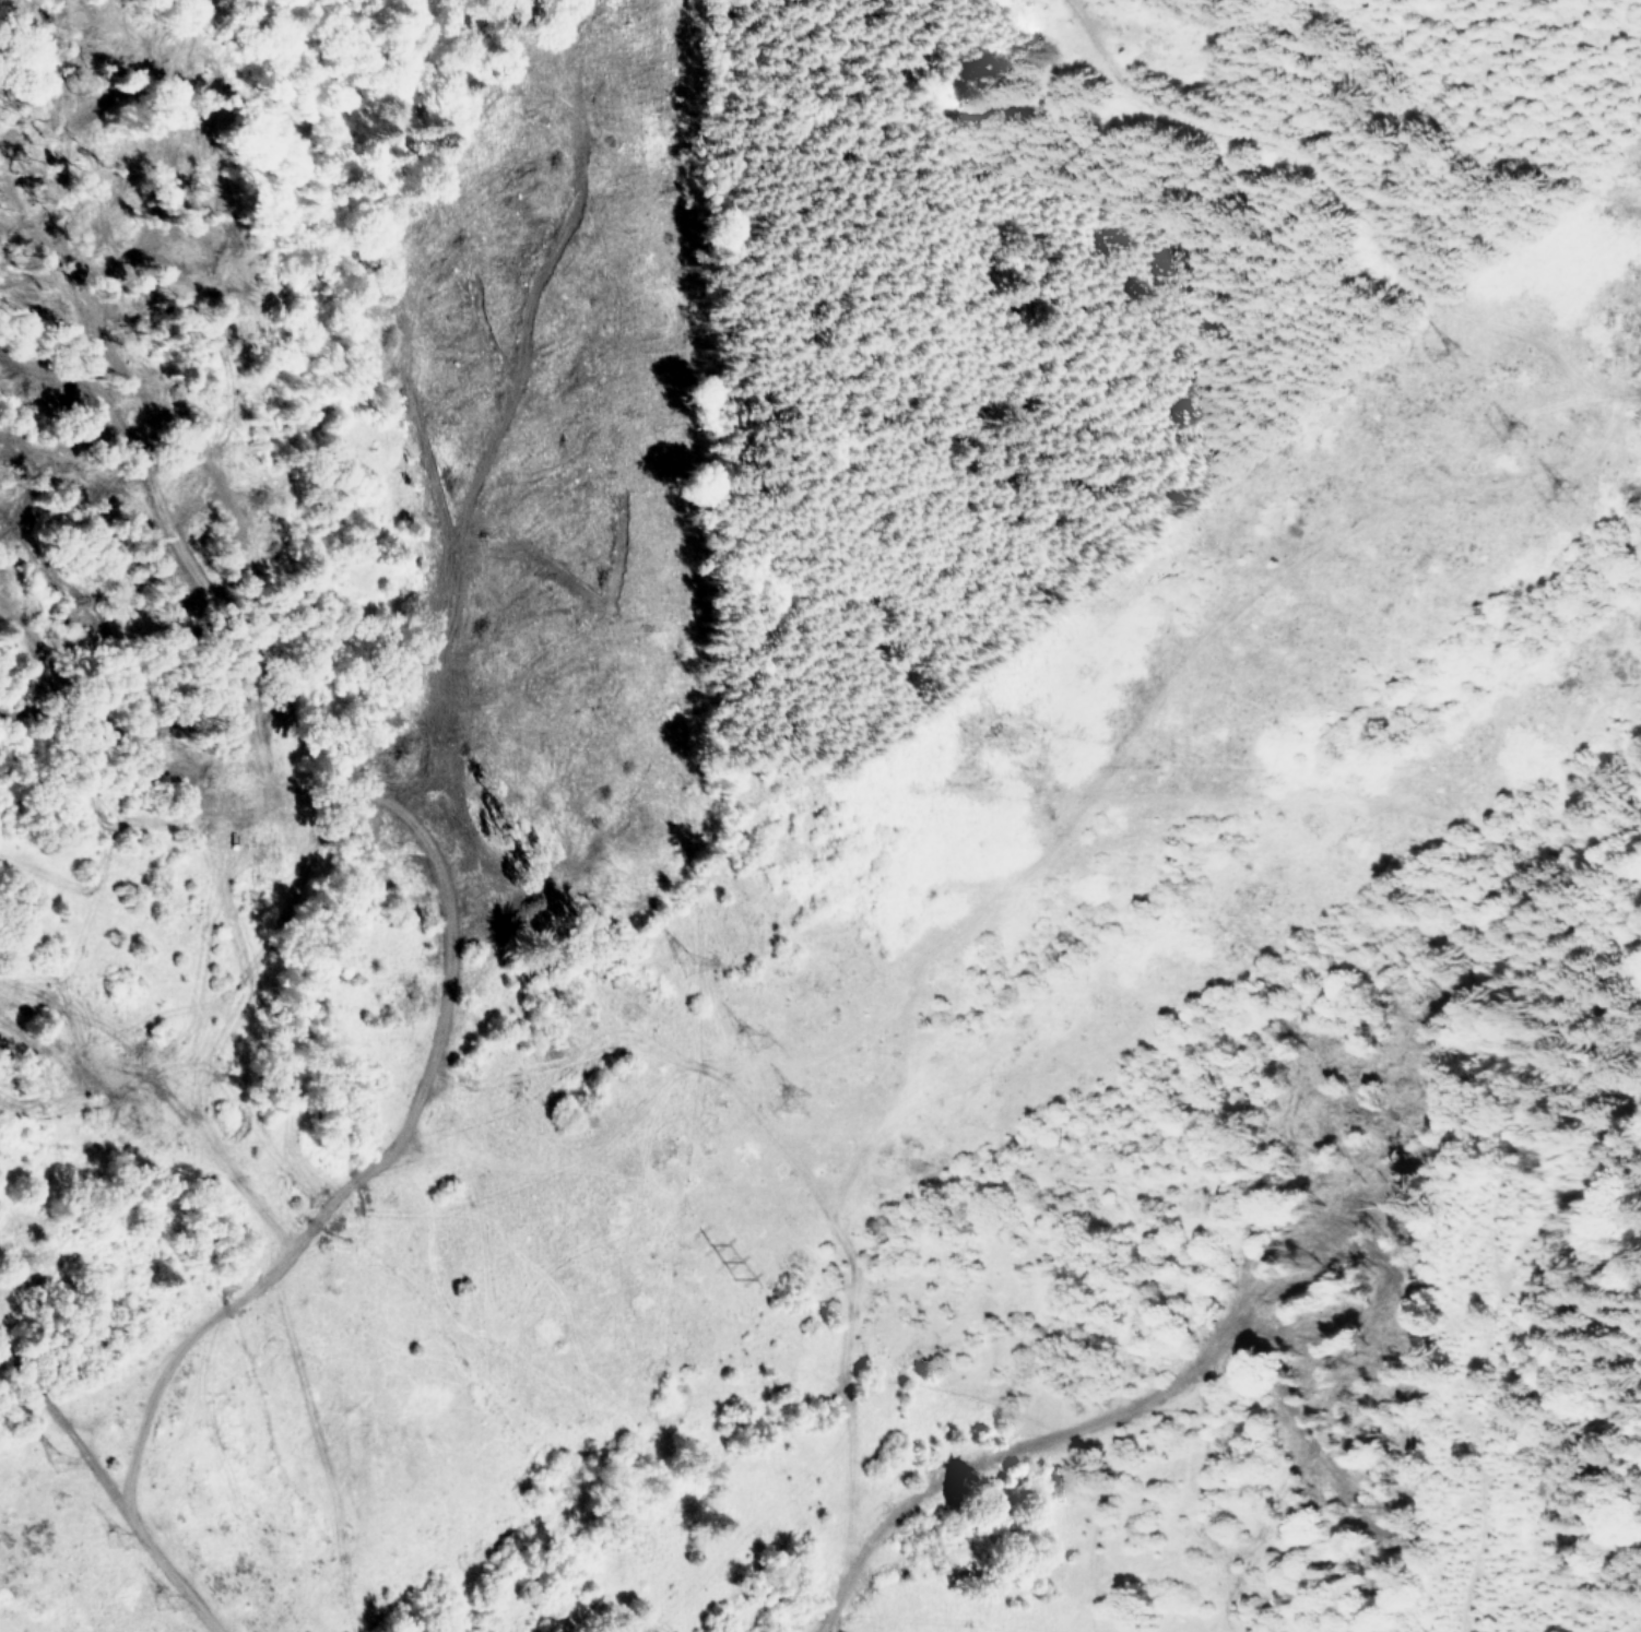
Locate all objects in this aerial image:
power tower: (1471, 376)
power tower: (1536, 469)
power tower: (1583, 525)
power tower: (689, 971)
power tower: (748, 1056)
power tower: (803, 1119)
road: (302, 1163)
power tower: (722, 1274)
power tower: (62, 1474)
road: (946, 1485)
power tower: (122, 1544)
power tower: (168, 1615)

